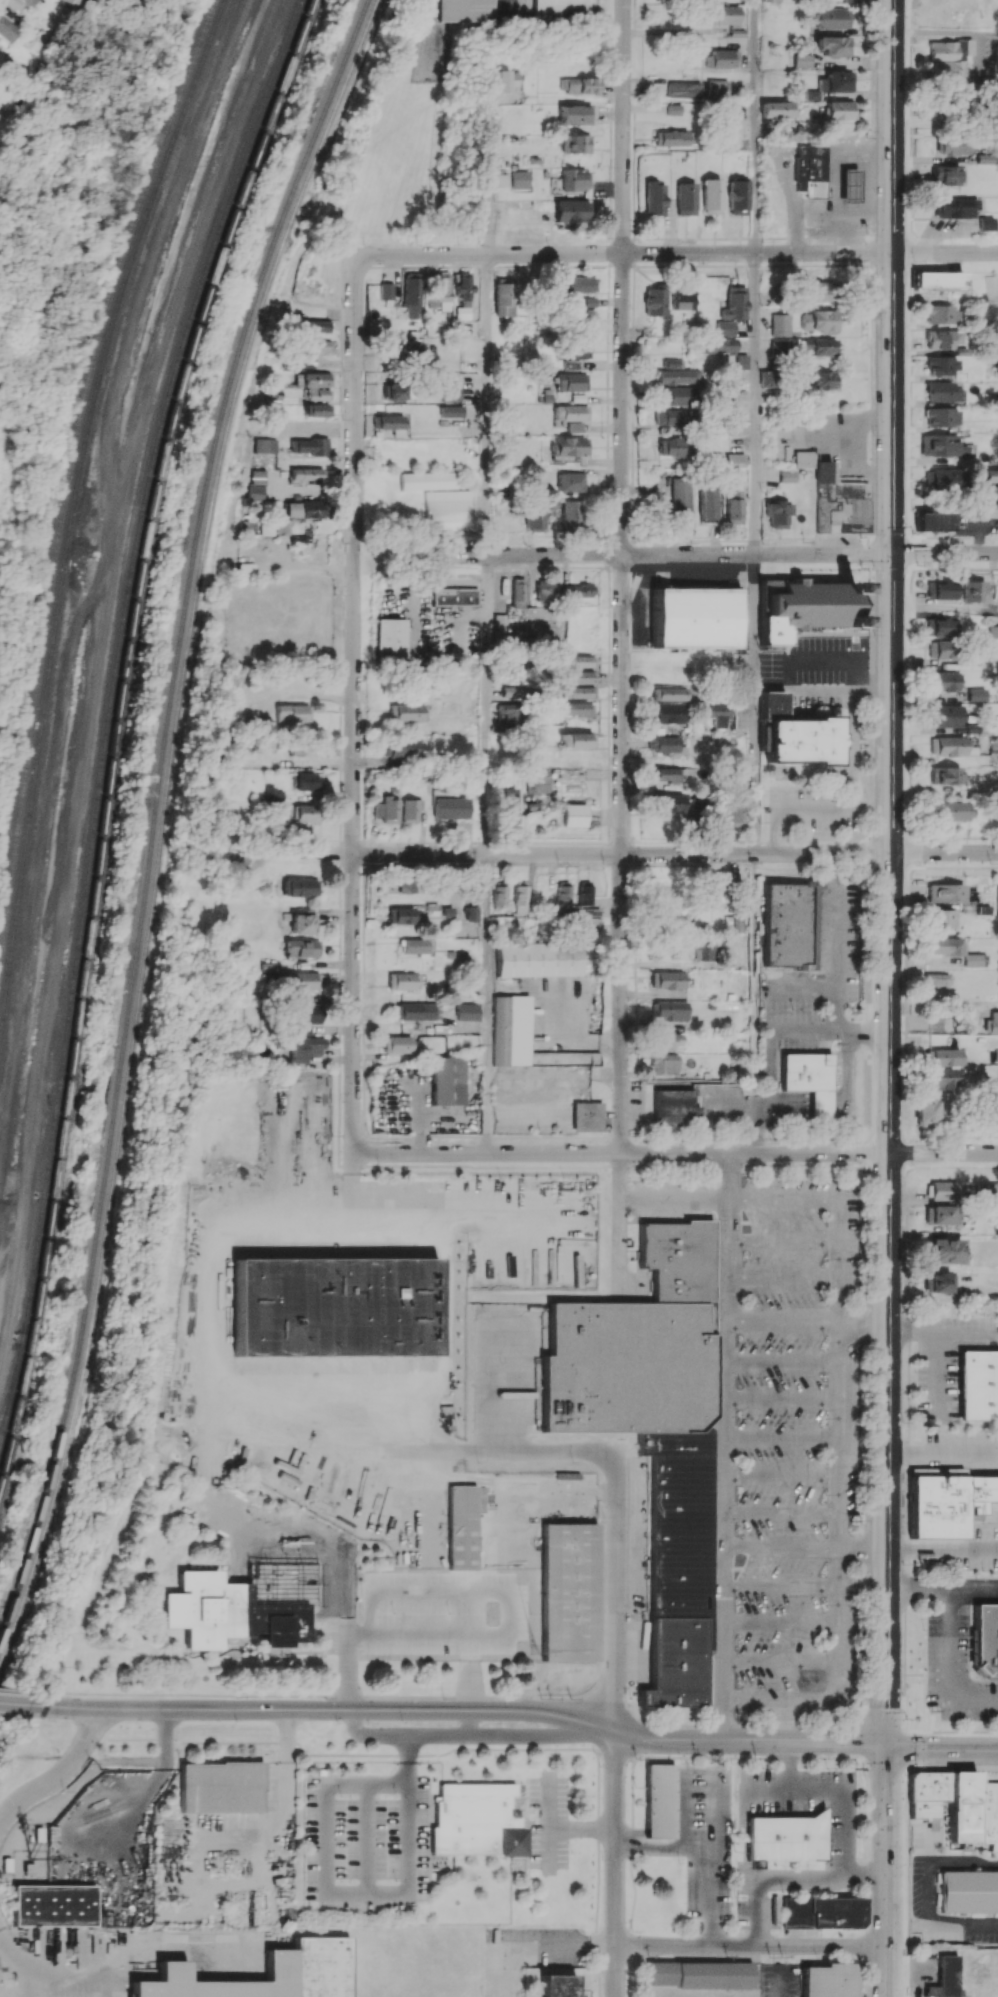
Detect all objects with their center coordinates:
building: (774, 0)
building: (13, 3)
building: (80, 5)
road: (516, 5)
building: (562, 9)
building: (465, 10)
building: (727, 15)
building: (831, 18)
railway: (205, 21)
building: (7, 29)
building: (832, 46)
building: (946, 58)
building: (721, 59)
building: (802, 60)
building: (503, 81)
building: (834, 81)
building: (574, 85)
building: (684, 89)
building: (717, 89)
building: (811, 94)
railway: (77, 106)
building: (778, 109)
building: (839, 110)
building: (571, 114)
road: (755, 126)
building: (670, 137)
building: (572, 143)
building: (952, 146)
building: (985, 158)
building: (810, 170)
road: (489, 174)
building: (949, 175)
building: (518, 179)
building: (572, 179)
road: (863, 181)
railway: (15, 184)
building: (849, 184)
building: (711, 196)
building: (737, 197)
building: (653, 198)
building: (685, 198)
building: (954, 207)
road: (813, 208)
building: (569, 210)
building: (985, 223)
road: (944, 252)
road: (624, 253)
building: (937, 280)
building: (578, 284)
building: (463, 287)
building: (991, 288)
building: (386, 291)
building: (818, 291)
building: (441, 293)
building: (412, 298)
building: (504, 299)
building: (680, 299)
building: (654, 300)
building: (587, 302)
building: (733, 303)
railway: (55, 313)
building: (582, 314)
building: (941, 314)
building: (818, 321)
building: (779, 325)
building: (317, 326)
building: (725, 328)
building: (941, 339)
railway: (56, 343)
building: (318, 345)
building: (716, 346)
building: (816, 347)
building: (409, 350)
building: (579, 350)
building: (304, 361)
building: (741, 361)
building: (671, 363)
building: (571, 364)
building: (941, 365)
building: (674, 376)
building: (766, 378)
building: (315, 379)
building: (820, 379)
building: (571, 381)
building: (395, 391)
building: (448, 391)
building: (941, 392)
building: (318, 394)
building: (675, 396)
road: (754, 403)
building: (316, 410)
building: (569, 413)
building: (670, 416)
building: (941, 417)
building: (391, 423)
building: (728, 425)
building: (573, 426)
building: (312, 428)
building: (267, 445)
building: (310, 446)
building: (569, 446)
building: (940, 446)
building: (672, 447)
building: (733, 459)
railway: (70, 474)
building: (309, 475)
building: (256, 476)
building: (785, 476)
building: (990, 476)
building: (942, 479)
building: (429, 480)
building: (570, 482)
building: (256, 492)
building: (681, 493)
building: (834, 498)
building: (447, 505)
building: (706, 505)
building: (733, 506)
building: (303, 508)
railway: (72, 510)
building: (987, 510)
building: (572, 513)
building: (776, 513)
building: (535, 516)
building: (932, 521)
road: (944, 552)
road: (675, 553)
road: (622, 576)
building: (940, 589)
building: (545, 590)
building: (580, 590)
building: (972, 591)
building: (518, 593)
building: (454, 596)
building: (803, 607)
building: (696, 618)
building: (940, 626)
building: (391, 639)
building: (940, 649)
road: (806, 658)
building: (579, 661)
building: (580, 677)
building: (944, 681)
building: (514, 691)
building: (578, 692)
building: (669, 693)
building: (976, 694)
road: (753, 703)
road: (353, 704)
building: (772, 705)
building: (574, 708)
building: (406, 712)
building: (510, 712)
building: (291, 713)
building: (669, 713)
building: (719, 713)
building: (945, 715)
railway: (111, 719)
railway: (118, 737)
building: (577, 740)
building: (801, 740)
building: (664, 743)
building: (950, 746)
building: (401, 747)
building: (997, 750)
building: (667, 774)
building: (945, 775)
building: (306, 781)
building: (538, 781)
road: (849, 787)
building: (273, 793)
building: (510, 801)
building: (670, 803)
building: (450, 807)
building: (386, 810)
building: (409, 810)
building: (952, 810)
building: (733, 812)
building: (304, 813)
building: (574, 814)
railway: (156, 817)
railway: (164, 830)
road: (943, 852)
road: (621, 853)
road: (484, 854)
building: (405, 885)
building: (715, 885)
building: (299, 887)
building: (585, 892)
building: (945, 892)
building: (500, 893)
building: (521, 897)
building: (563, 897)
building: (997, 902)
building: (470, 913)
building: (400, 915)
building: (941, 918)
building: (302, 922)
building: (591, 923)
building: (735, 924)
building: (789, 924)
building: (943, 945)
building: (415, 946)
building: (302, 948)
building: (708, 948)
building: (537, 959)
building: (975, 960)
road: (836, 964)
building: (302, 980)
building: (403, 980)
building: (668, 980)
building: (935, 985)
road: (889, 998)
building: (670, 1010)
building: (414, 1011)
building: (466, 1011)
building: (305, 1017)
building: (936, 1021)
building: (992, 1023)
building: (511, 1030)
road: (771, 1039)
building: (666, 1040)
building: (396, 1044)
building: (305, 1048)
building: (996, 1053)
building: (943, 1057)
building: (564, 1058)
building: (665, 1063)
building: (941, 1078)
building: (809, 1079)
building: (448, 1080)
road: (751, 1106)
building: (675, 1107)
building: (925, 1112)
building: (988, 1114)
building: (586, 1116)
road: (704, 1129)
road: (943, 1152)
road: (621, 1153)
building: (940, 1189)
building: (989, 1191)
road: (783, 1199)
road: (650, 1200)
building: (939, 1215)
building: (943, 1251)
railway: (39, 1264)
building: (937, 1282)
building: (335, 1307)
road: (782, 1318)
road: (862, 1329)
road: (936, 1350)
building: (978, 1385)
railway: (9, 1397)
road: (836, 1400)
building: (653, 1431)
road: (725, 1446)
road: (495, 1451)
road: (942, 1451)
building: (947, 1503)
building: (461, 1527)
road: (938, 1548)
road: (780, 1549)
road: (331, 1575)
road: (942, 1588)
building: (568, 1592)
road: (616, 1592)
building: (230, 1613)
road: (838, 1617)
road: (410, 1635)
building: (986, 1639)
road: (948, 1664)
road: (474, 1673)
road: (9, 1690)
road: (449, 1696)
road: (783, 1698)
road: (16, 1702)
road: (324, 1709)
road: (542, 1733)
road: (415, 1735)
road: (748, 1740)
traffic signals: (886, 1745)
road: (941, 1751)
road: (59, 1770)
road: (835, 1786)
building: (221, 1787)
road: (140, 1798)
building: (659, 1800)
building: (956, 1804)
road: (285, 1815)
building: (477, 1820)
road: (549, 1821)
road: (582, 1826)
building: (786, 1838)
road: (662, 1844)
road: (710, 1857)
road: (868, 1857)
road: (614, 1861)
road: (866, 1874)
road: (769, 1878)
building: (969, 1891)
road: (352, 1893)
road: (932, 1893)
building: (53, 1905)
building: (822, 1912)
building: (774, 1913)
road: (750, 1945)
building: (307, 1964)
road: (49, 1969)
building: (701, 1974)
building: (945, 1978)
building: (828, 1980)
building: (557, 1986)

